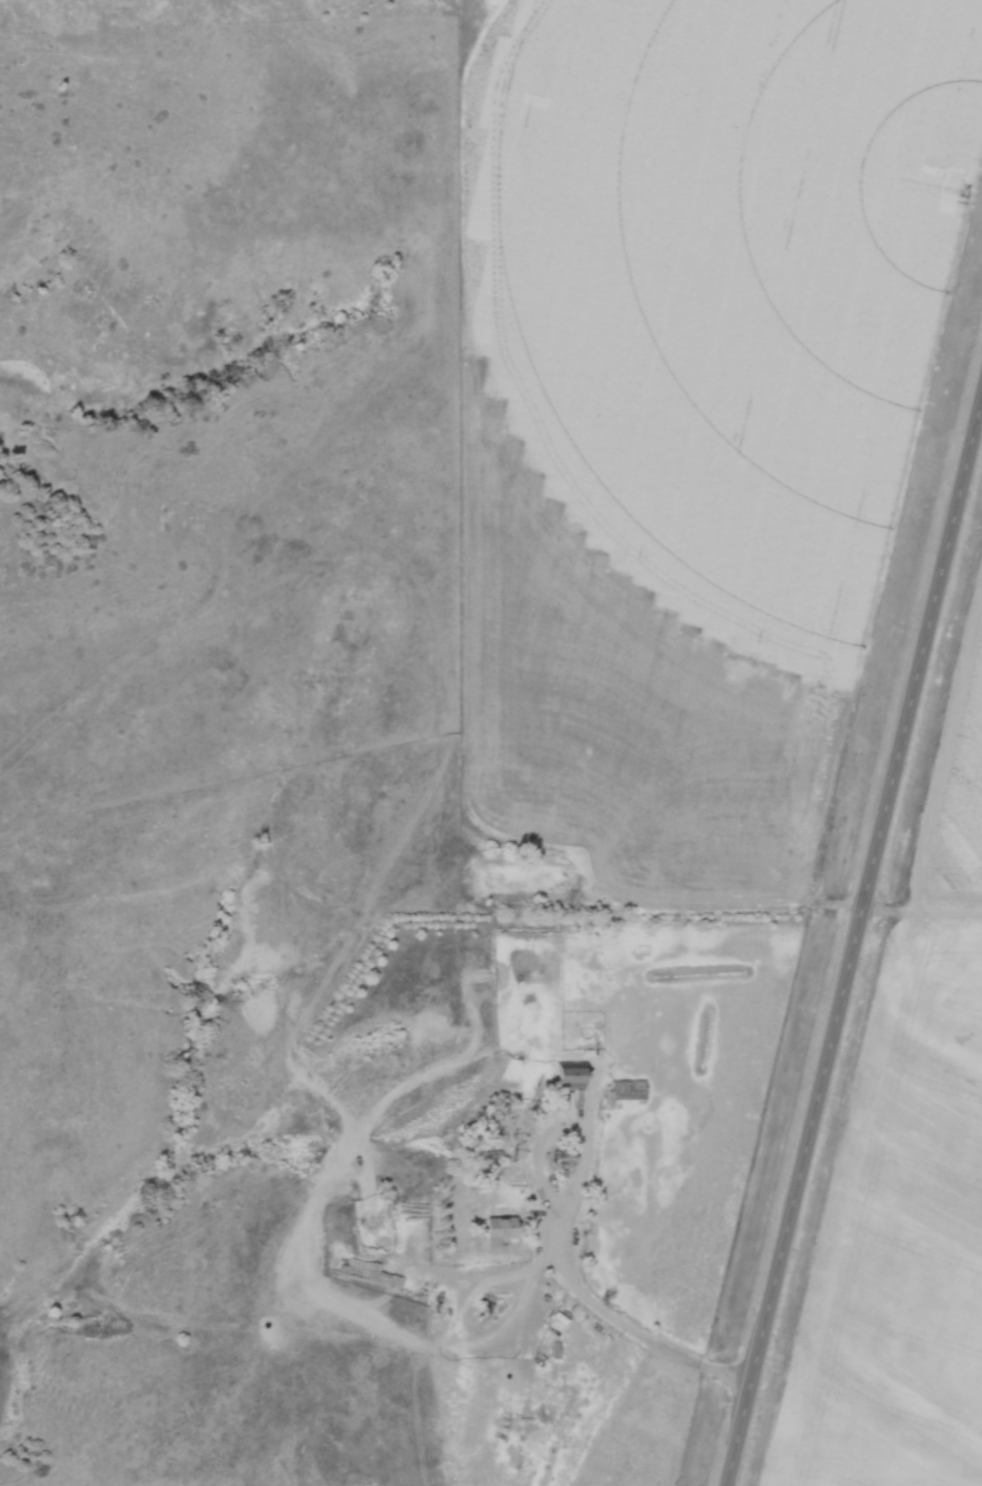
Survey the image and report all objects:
road: (853, 936)
building: (571, 1075)
building: (627, 1090)
road: (537, 1150)
building: (494, 1155)
building: (566, 1161)
building: (501, 1231)
road: (631, 1330)

